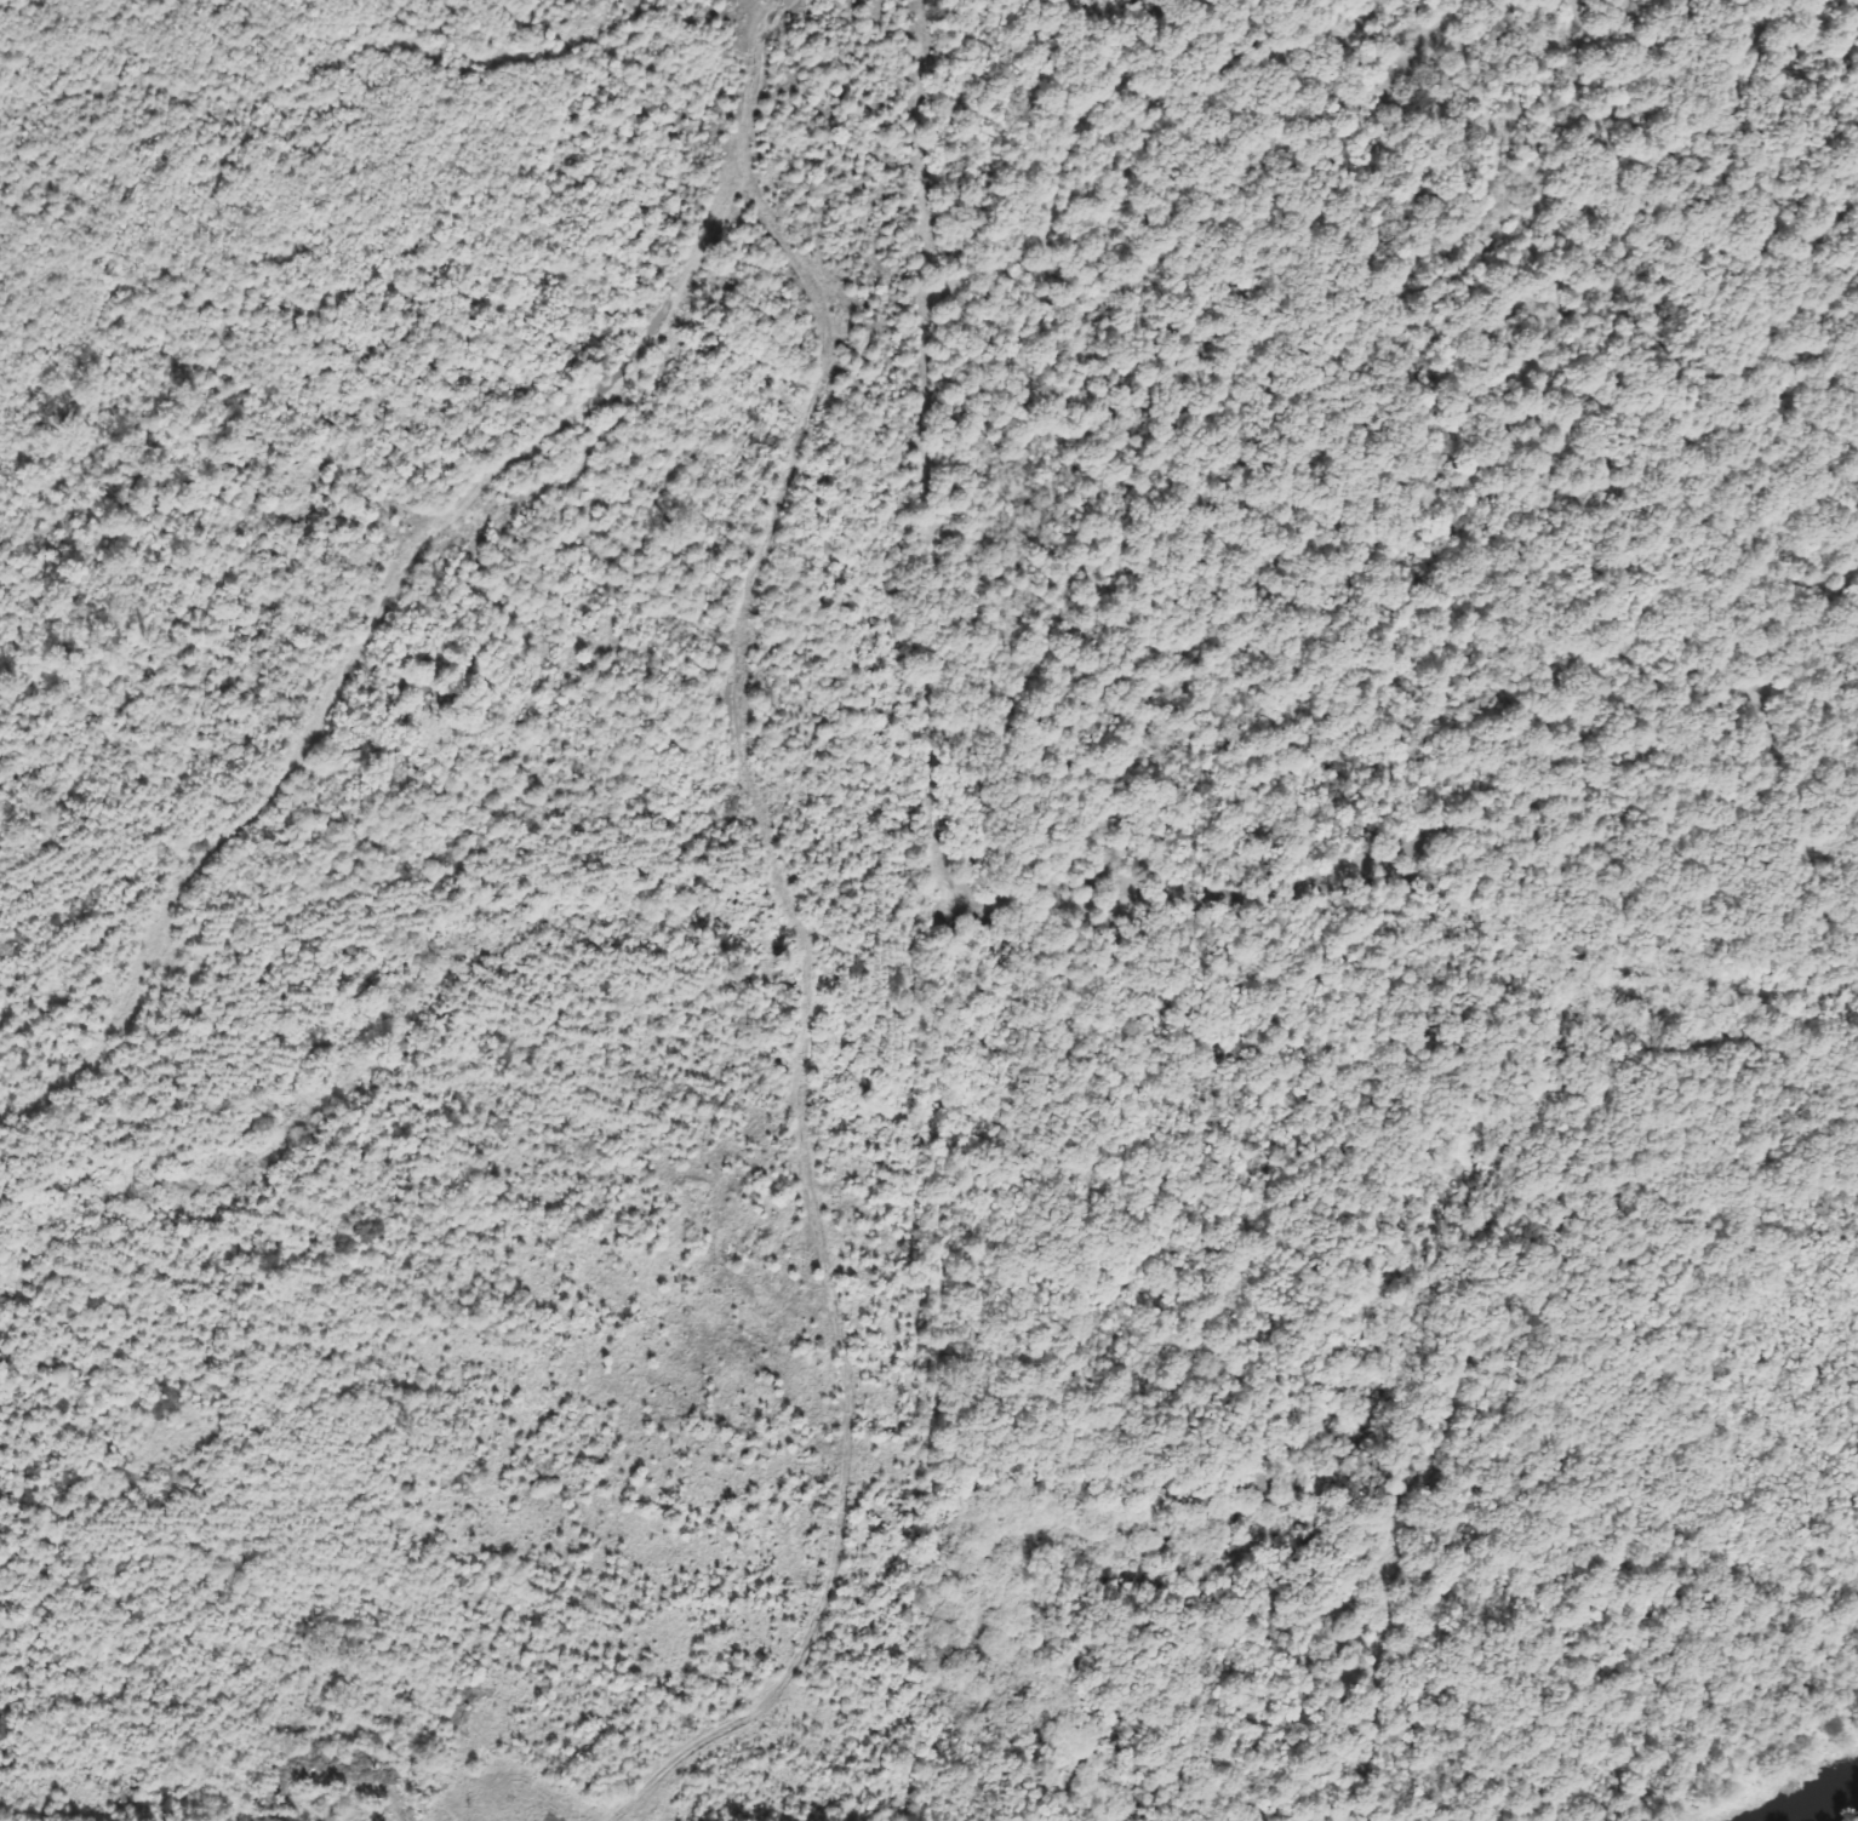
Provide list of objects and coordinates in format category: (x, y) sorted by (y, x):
river: (1825, 1805)

